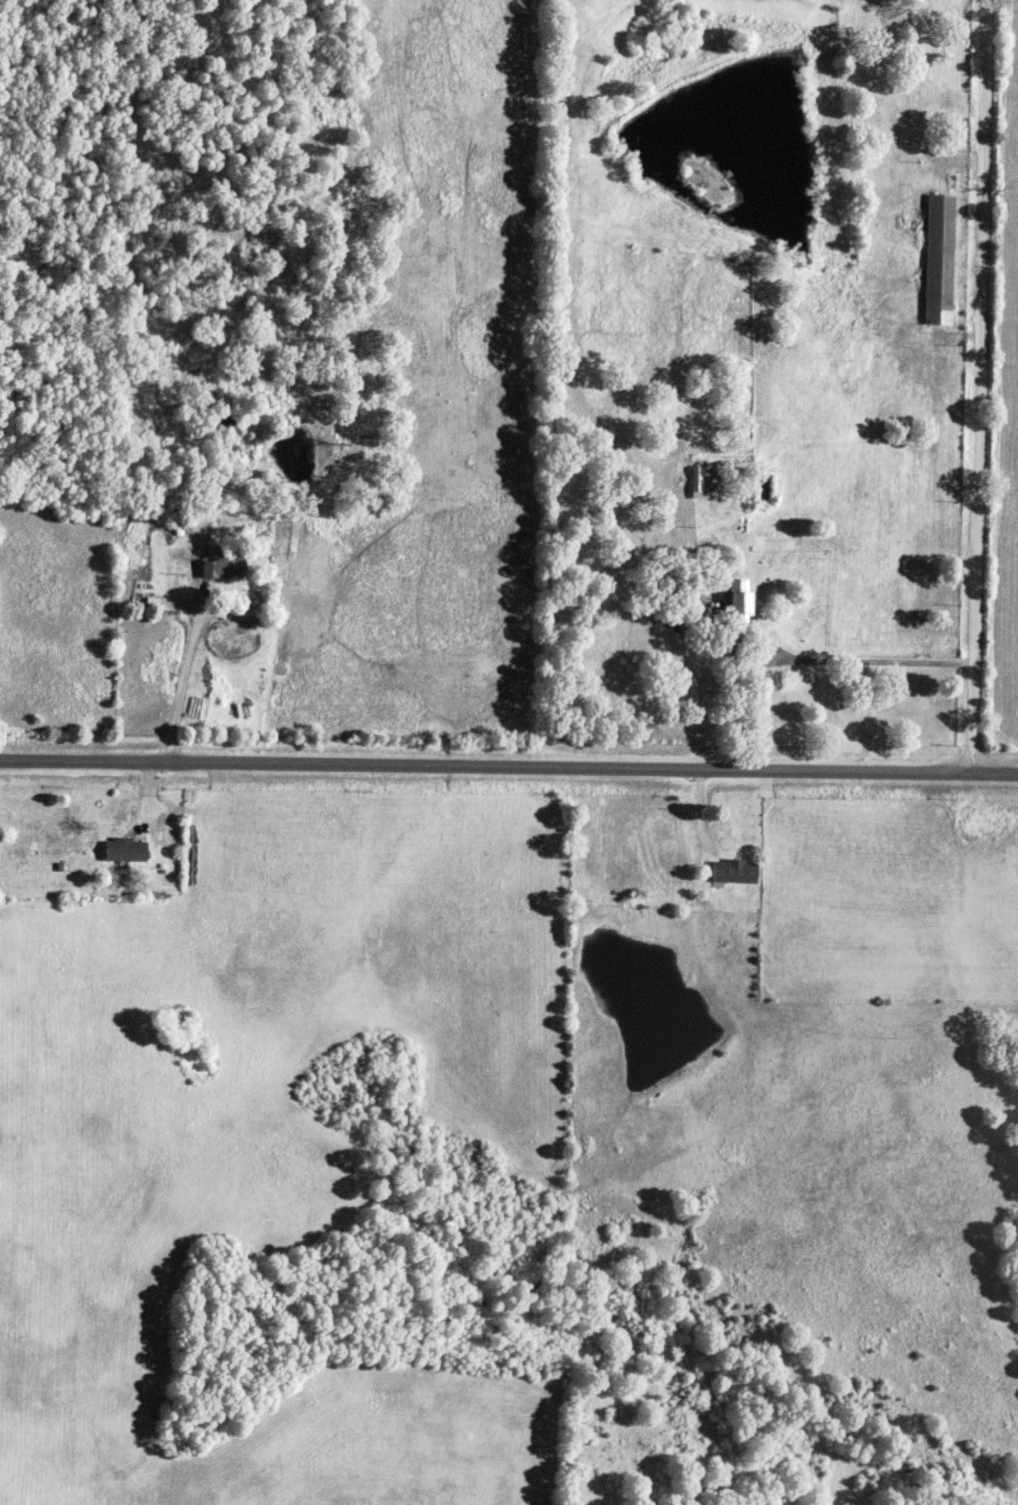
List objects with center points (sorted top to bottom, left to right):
building: (939, 260)
road: (975, 388)
building: (700, 483)
building: (223, 568)
building: (740, 602)
road: (864, 663)
road: (183, 679)
road: (508, 770)
building: (125, 851)
building: (734, 873)

